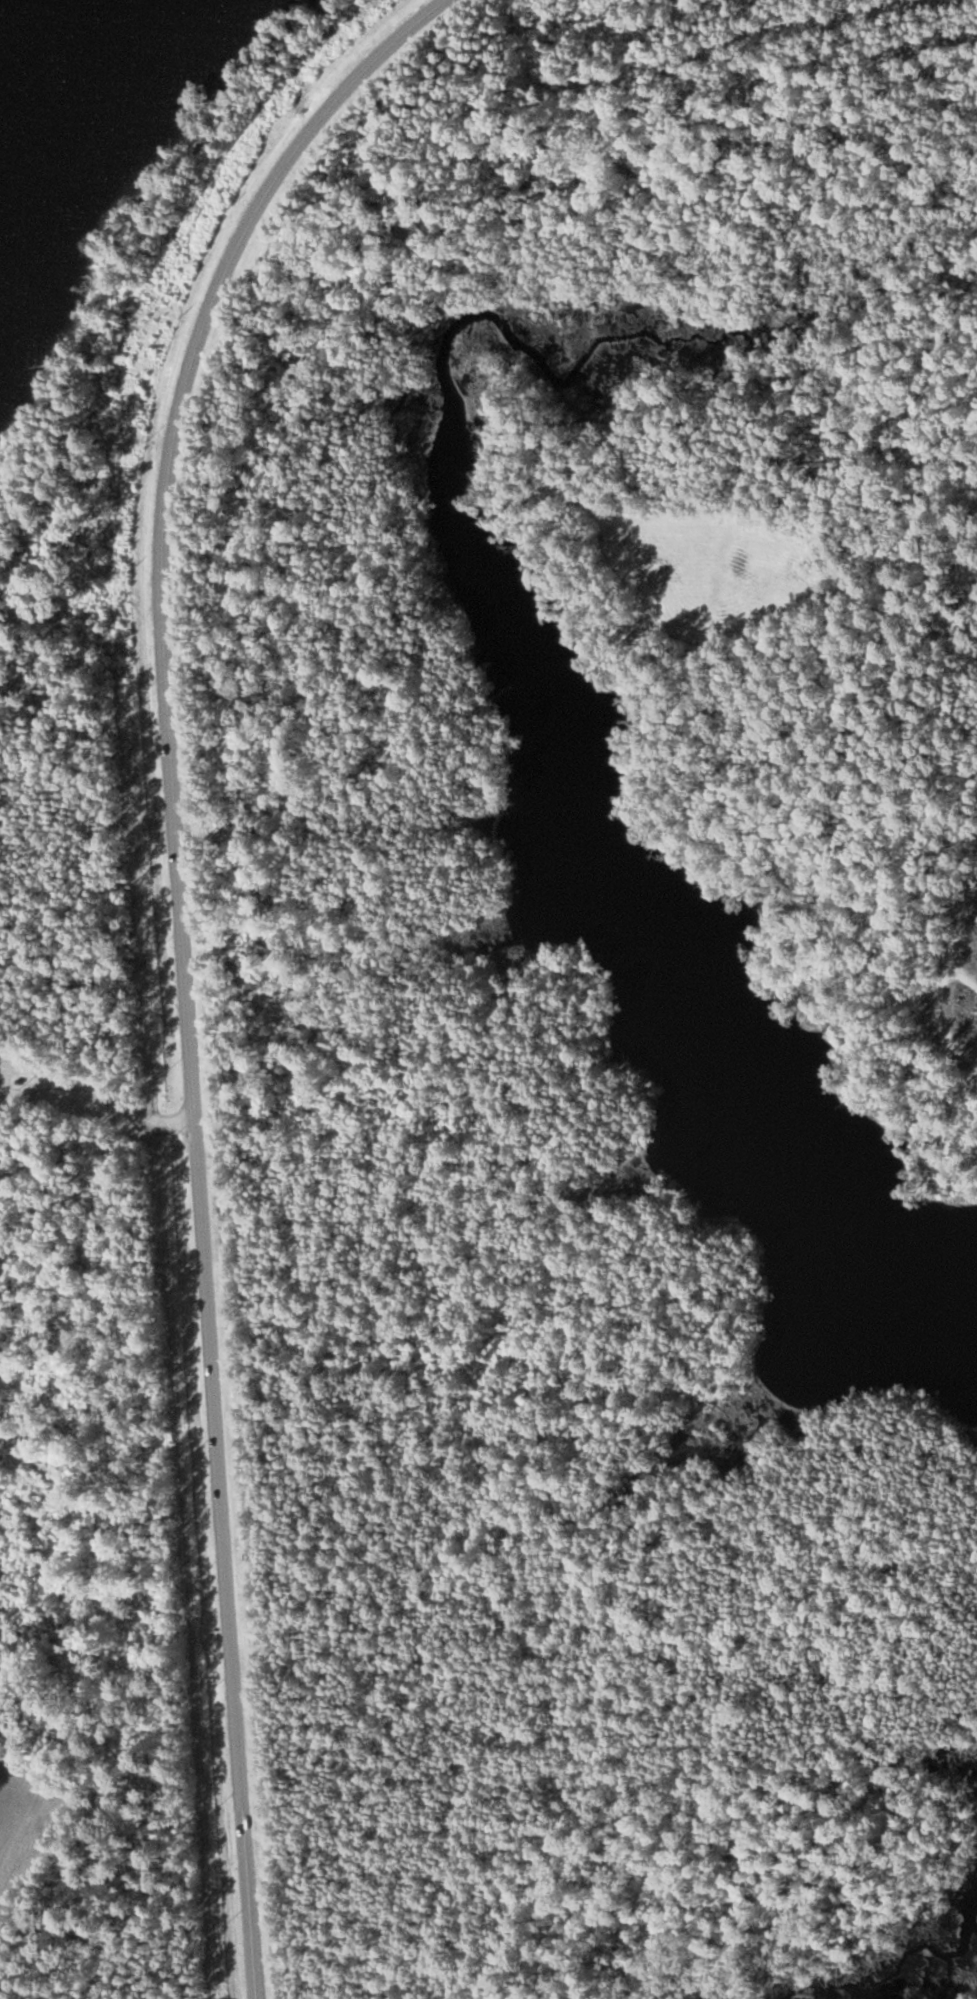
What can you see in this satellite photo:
road: (960, 938)
road: (171, 959)
road: (963, 982)
road: (935, 1029)

